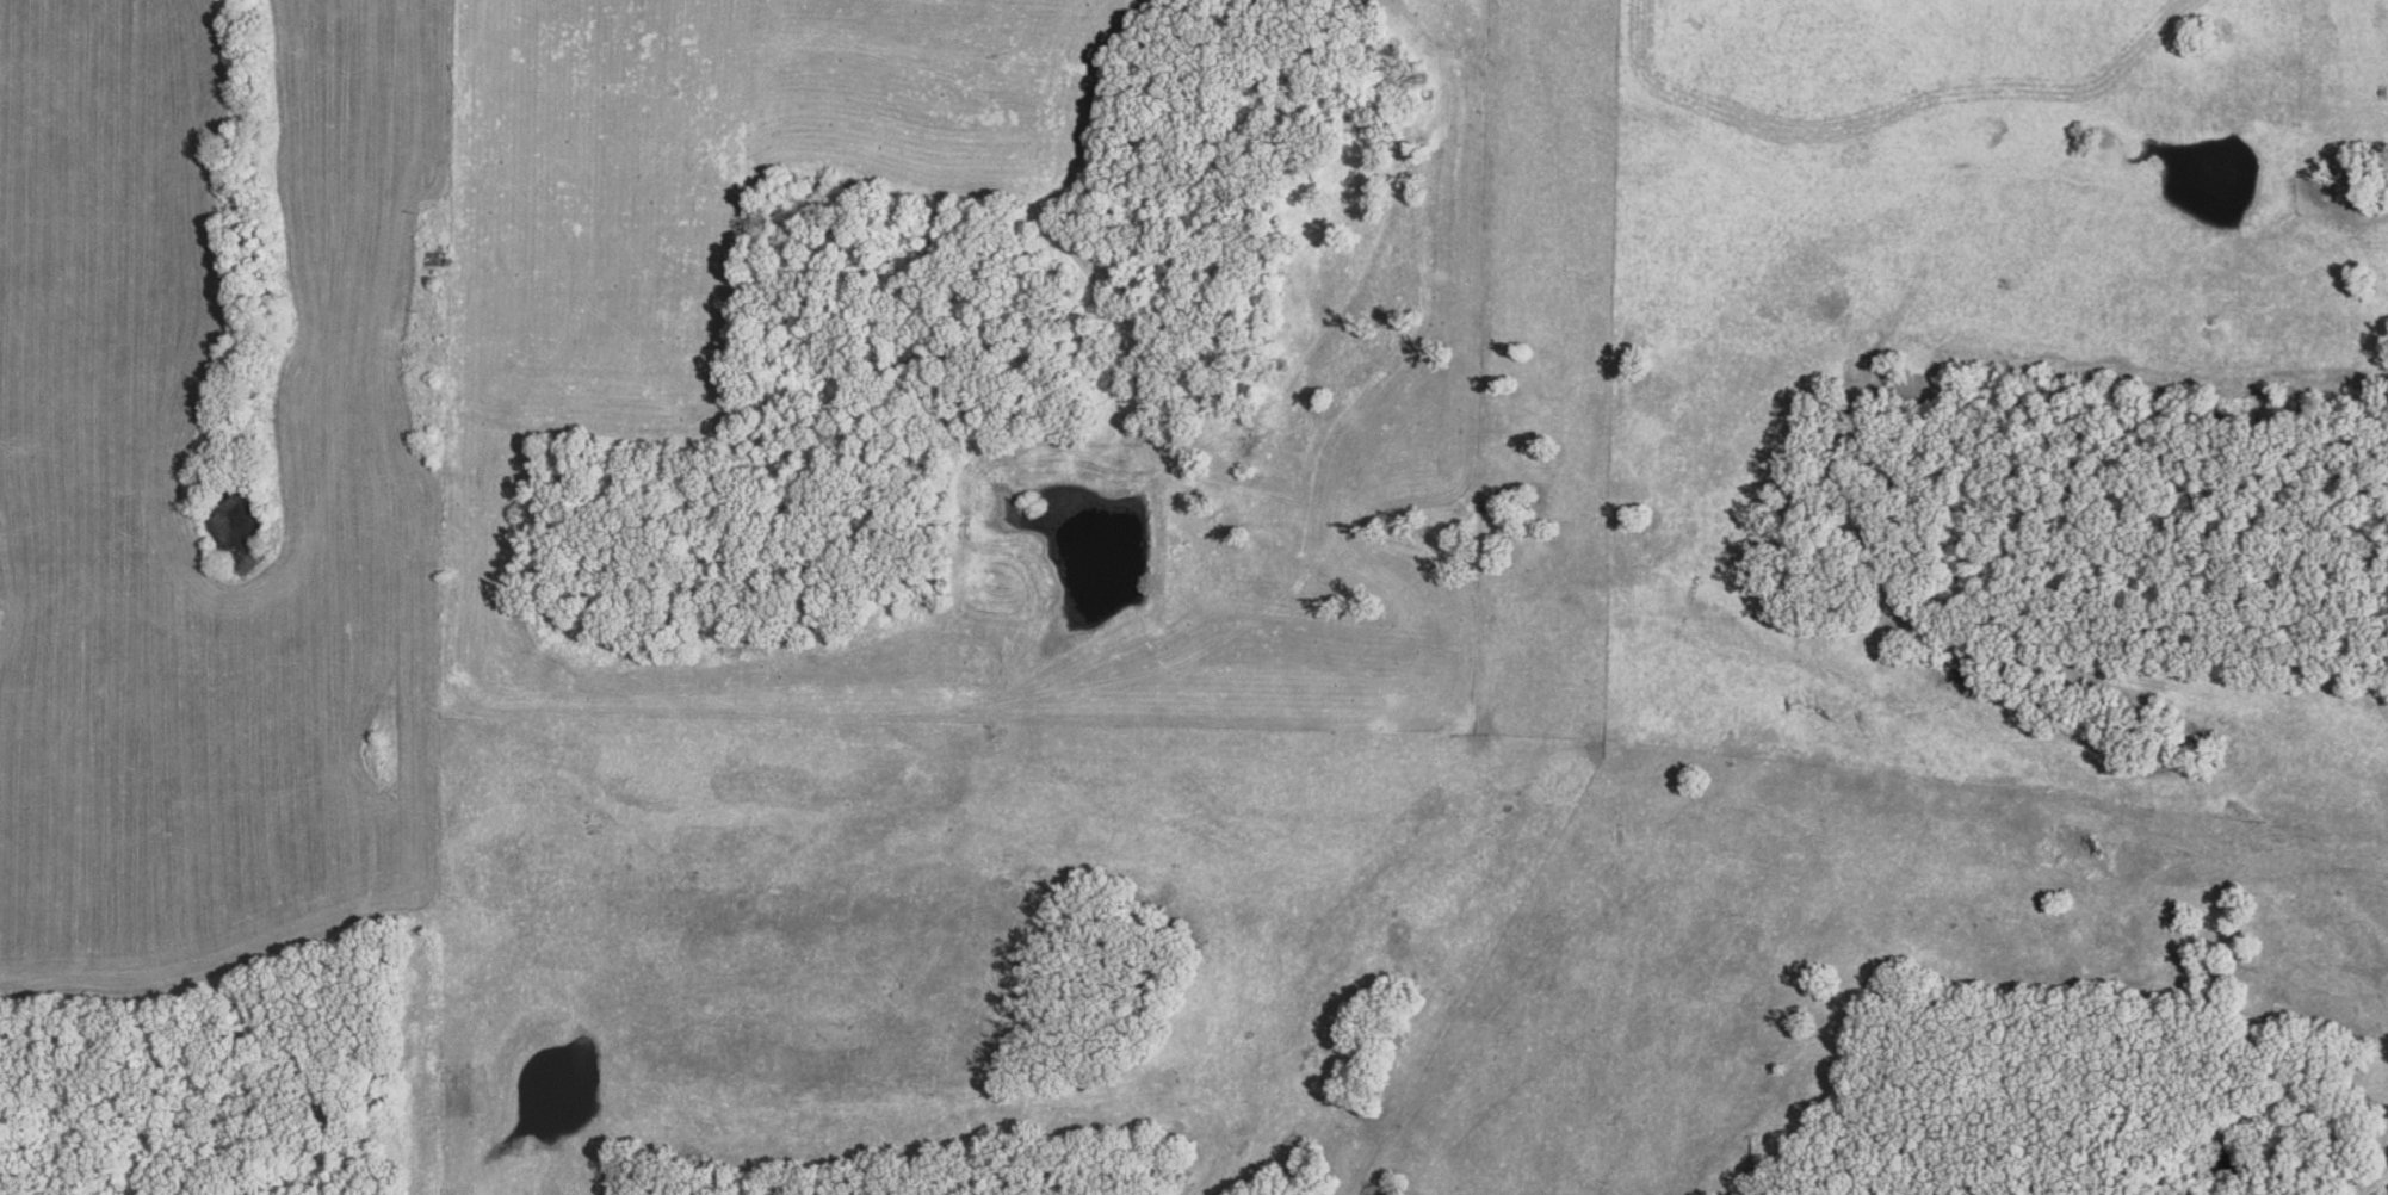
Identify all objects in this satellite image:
building: (432, 259)

